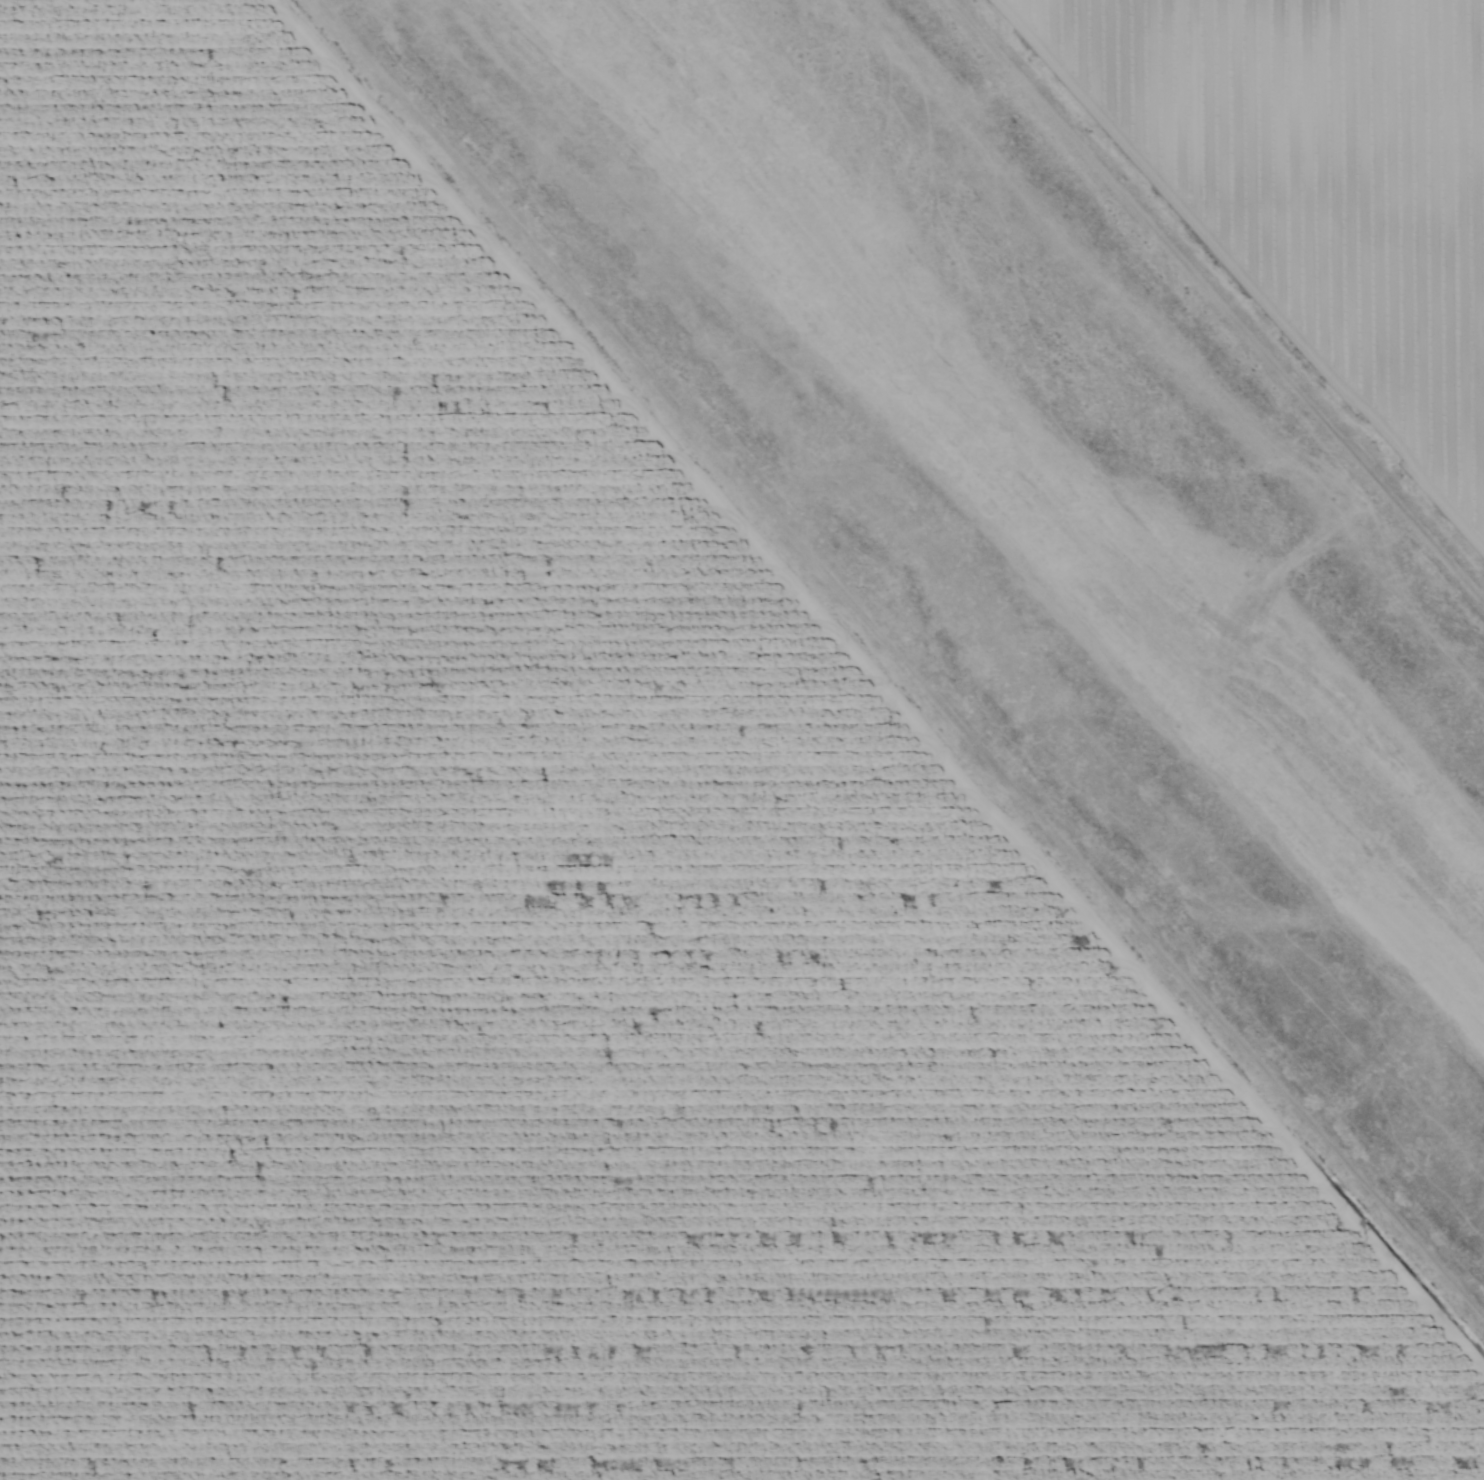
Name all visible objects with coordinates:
crop: (1314, 194)
crop: (545, 905)

